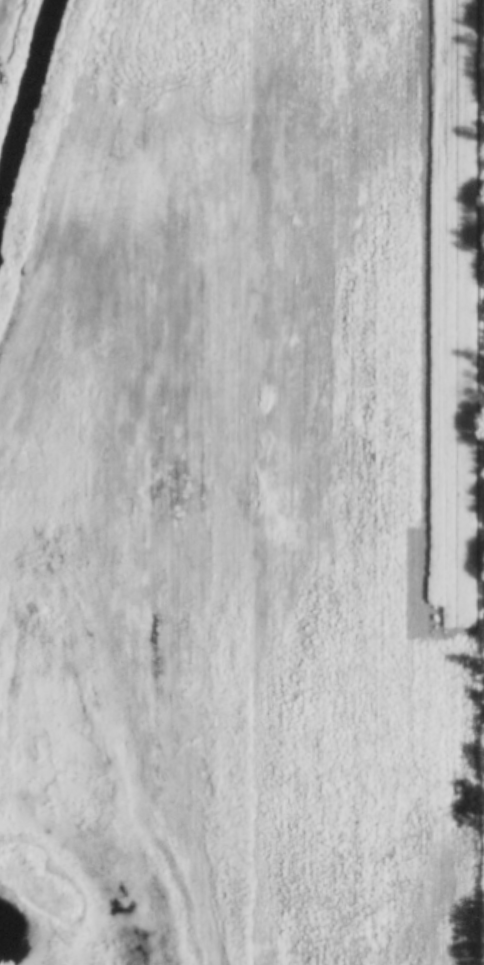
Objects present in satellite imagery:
crop: (7, 16)
crop: (276, 462)

